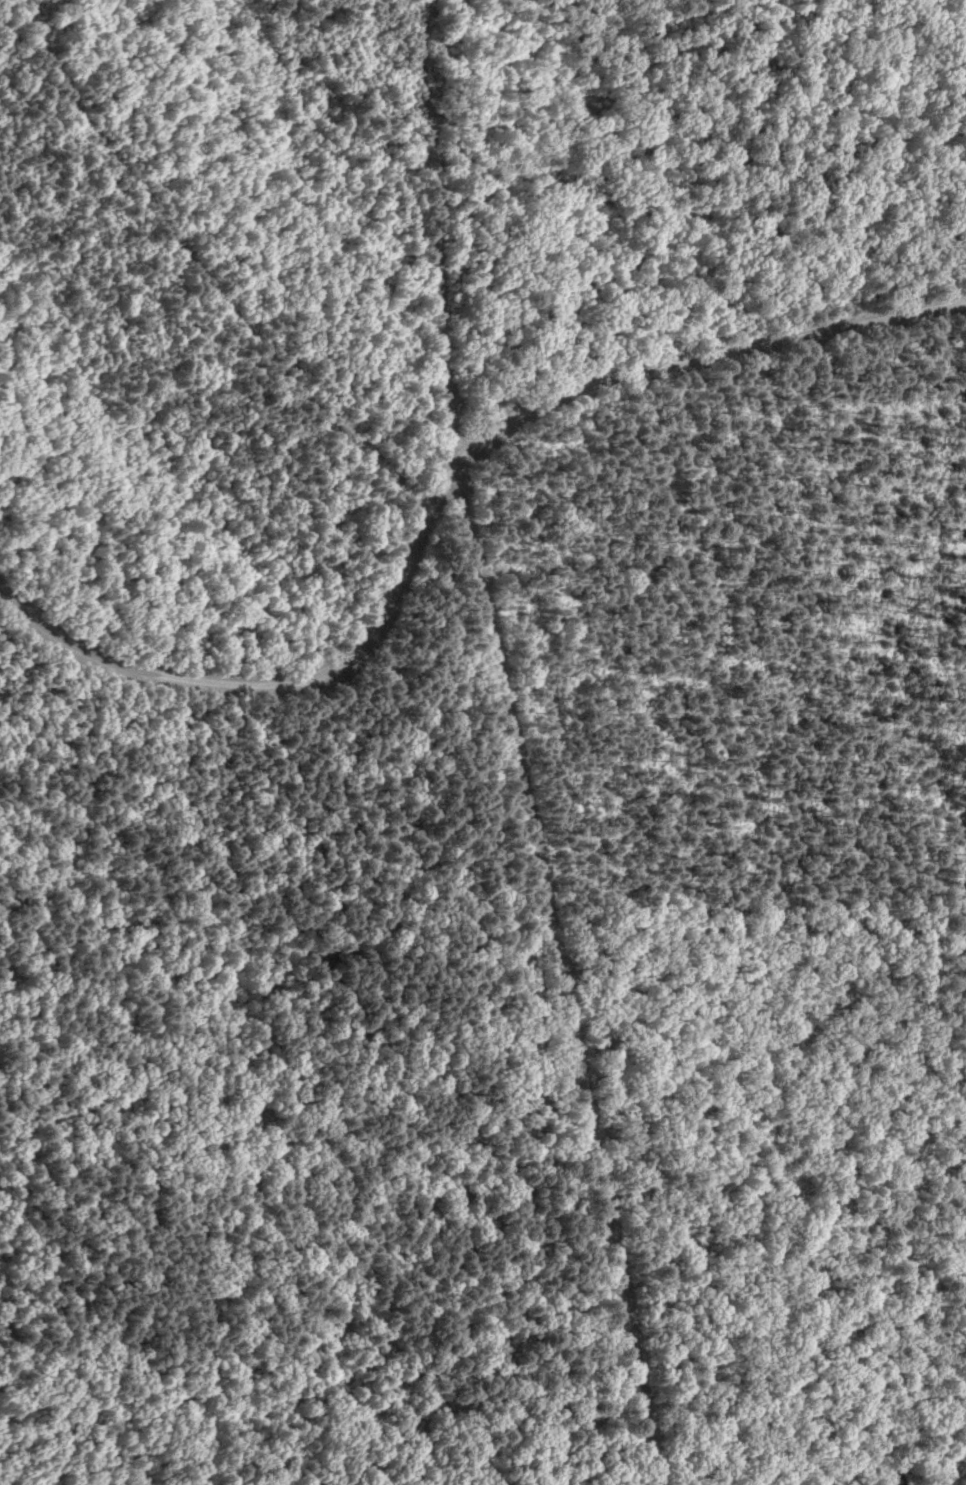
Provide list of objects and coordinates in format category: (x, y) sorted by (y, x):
road: (438, 488)
road: (565, 973)

